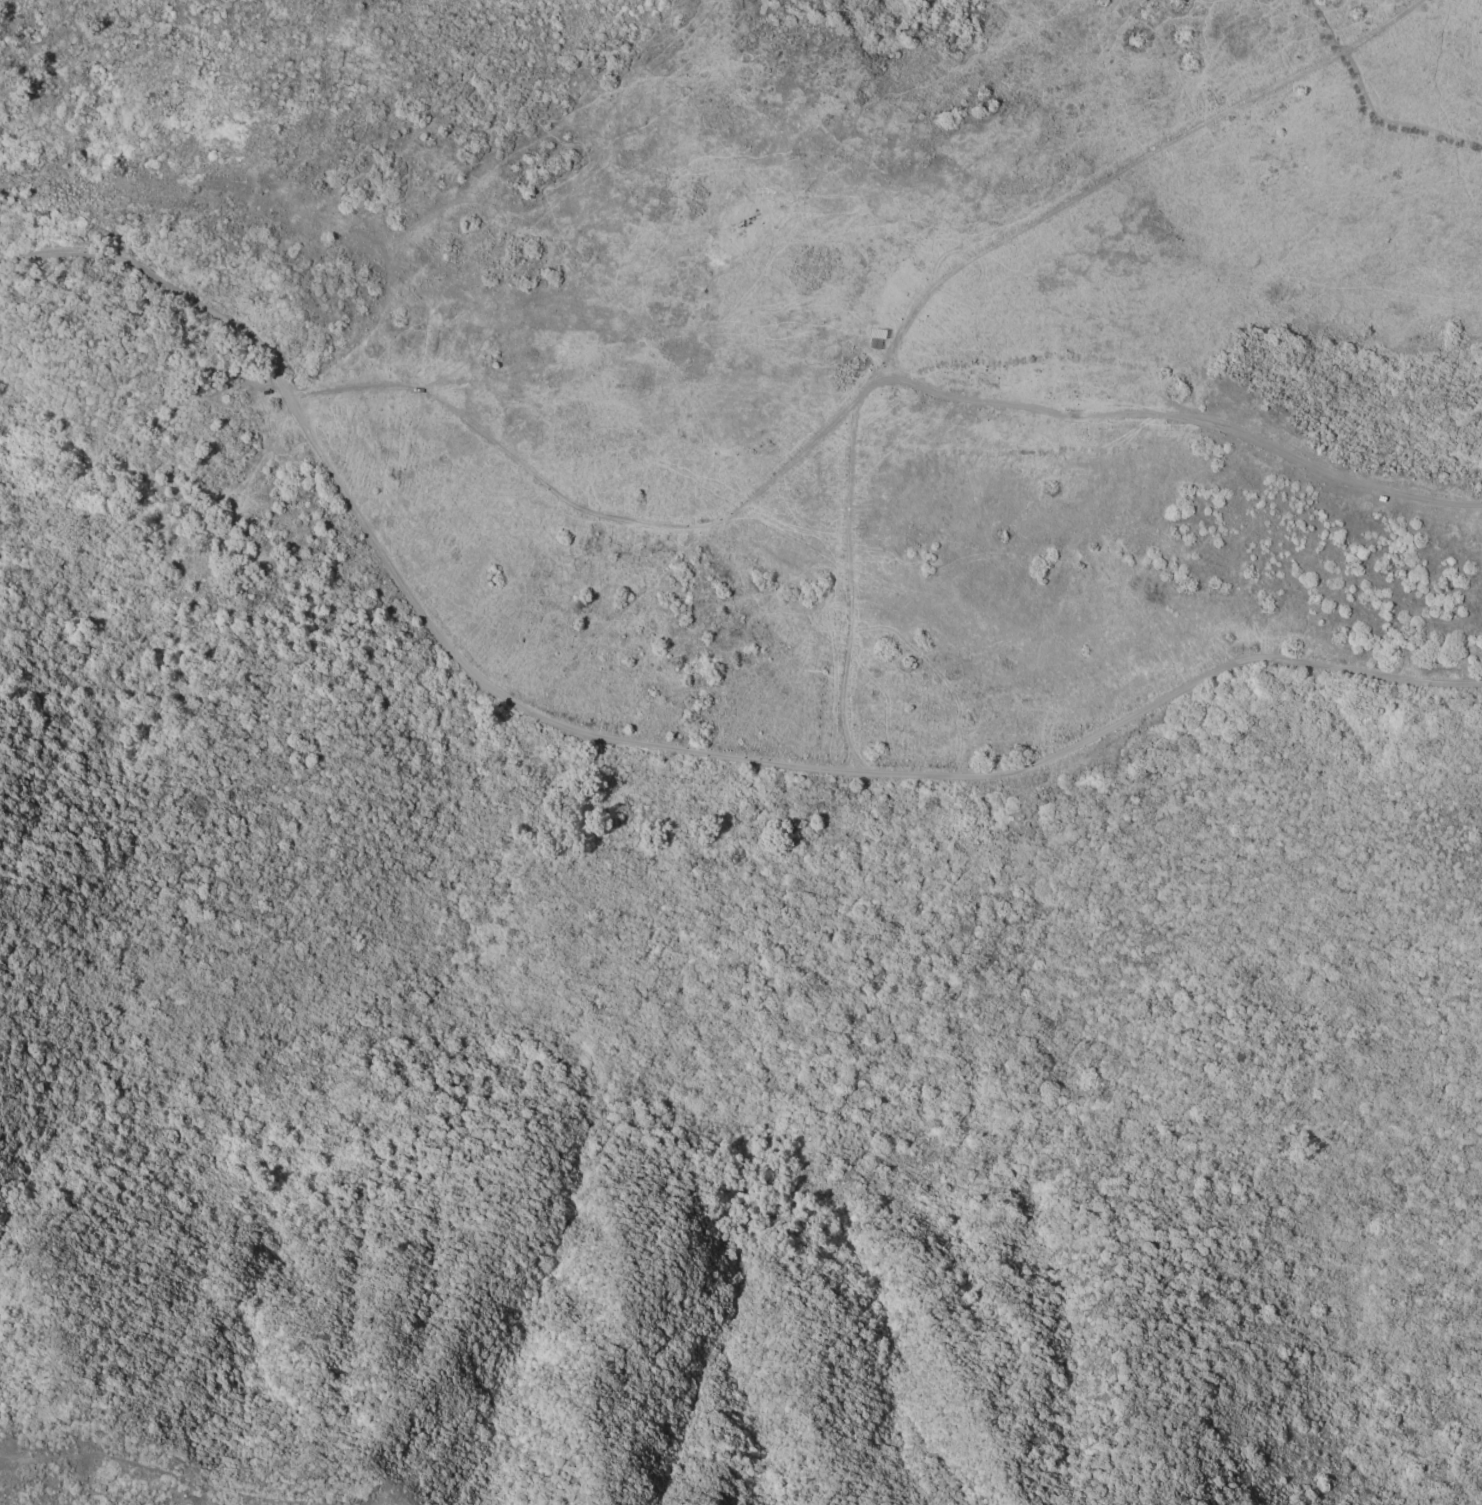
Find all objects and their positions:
road: (163, 280)
road: (813, 767)

